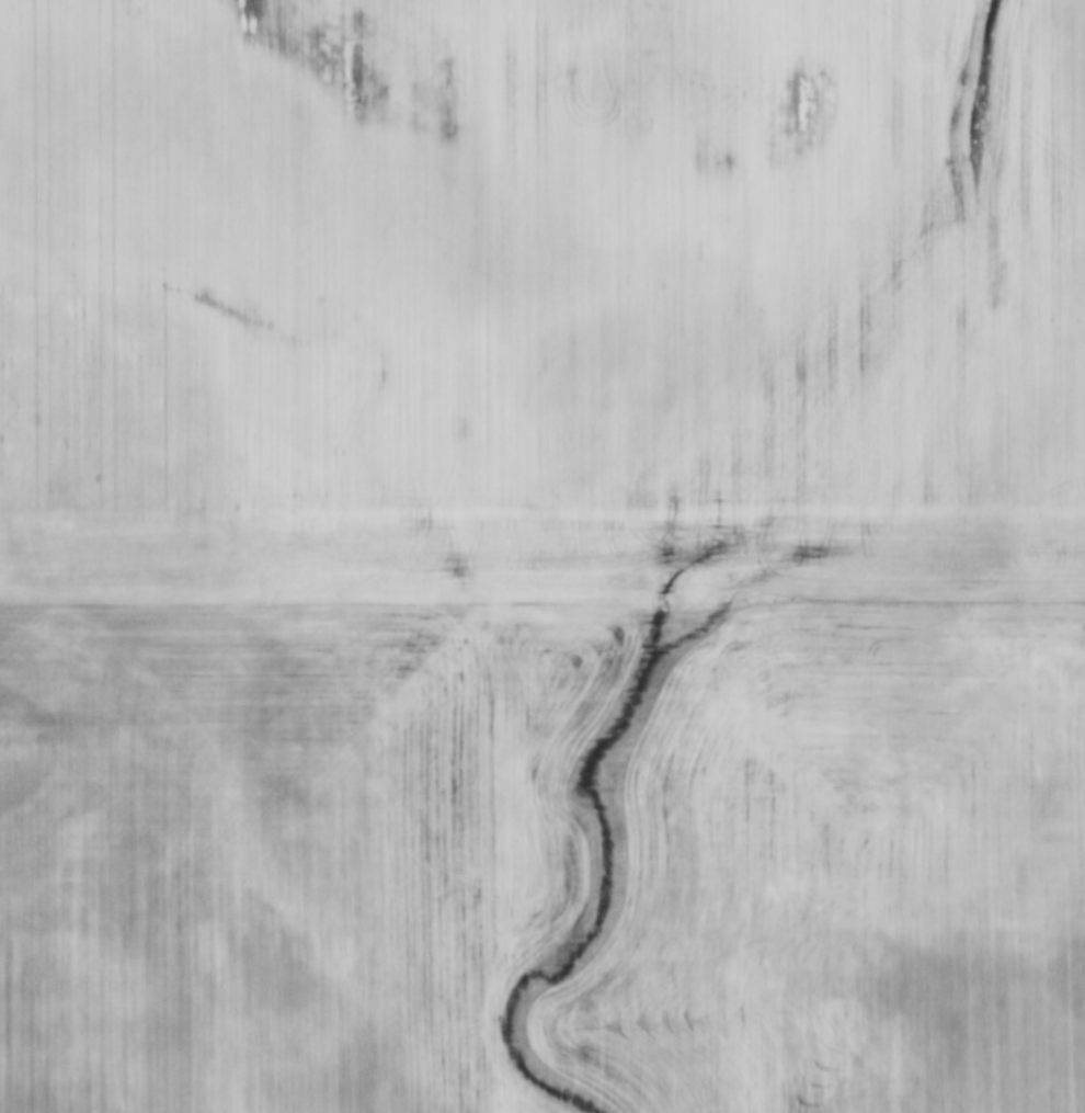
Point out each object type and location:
road: (542, 584)

